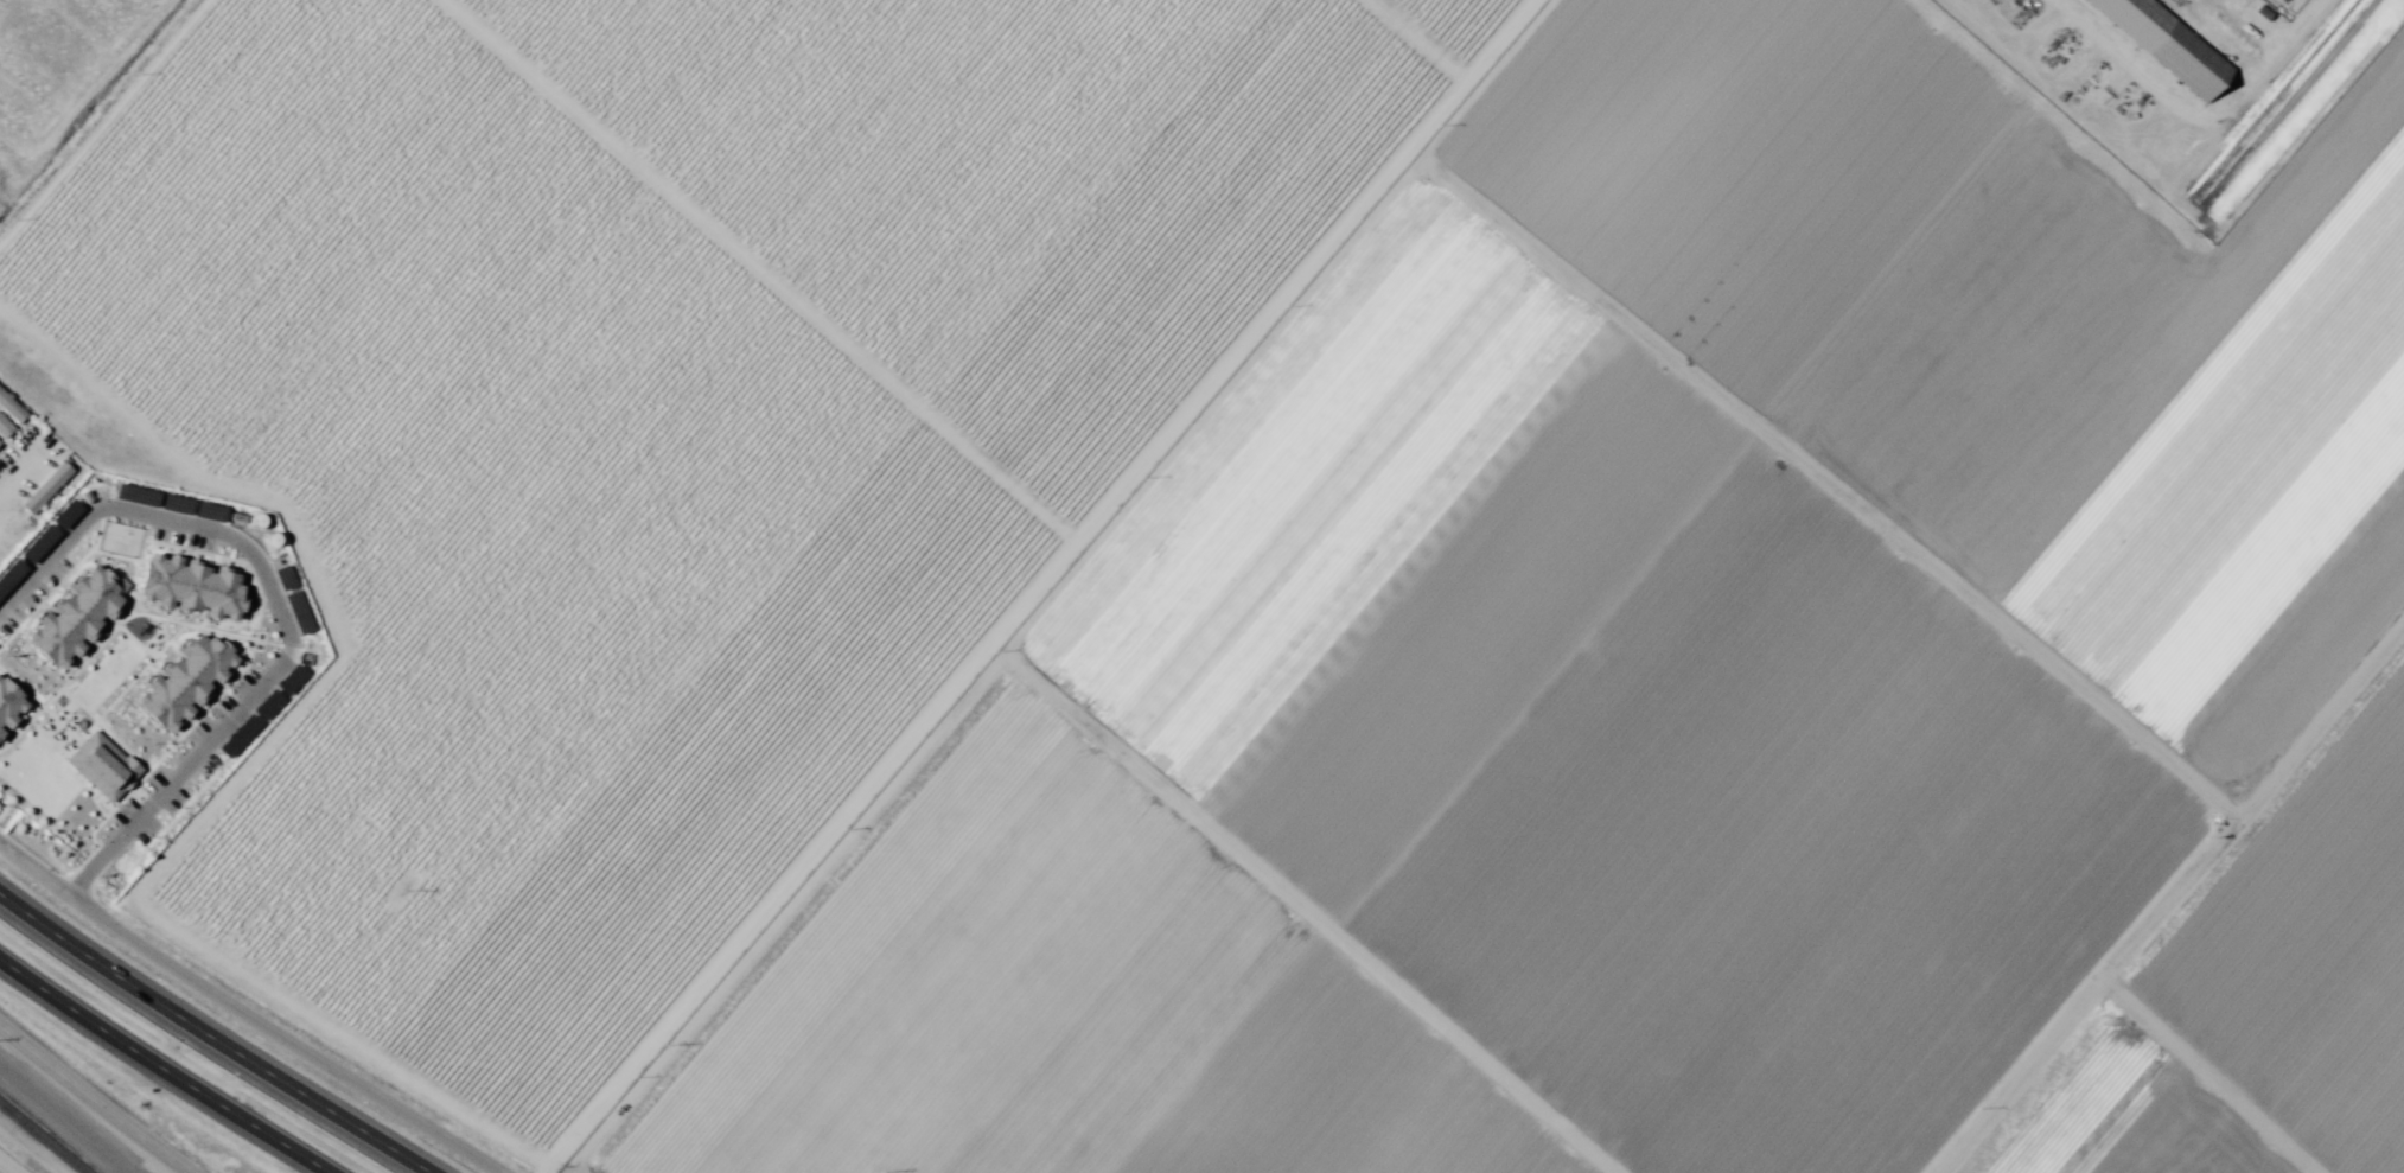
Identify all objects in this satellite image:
building: (2281, 1)
wastewater plant: (82, 9)
road: (1422, 40)
building: (2166, 44)
wastewater plant: (32, 47)
road: (82, 93)
road: (102, 120)
road: (763, 270)
building: (11, 409)
building: (5, 428)
building: (45, 490)
building: (114, 538)
building: (227, 543)
crop: (1292, 572)
road: (1039, 585)
building: (66, 591)
road: (279, 610)
building: (267, 626)
building: (119, 646)
building: (241, 656)
building: (197, 701)
road: (243, 770)
road: (2168, 897)
road: (249, 1012)
road: (212, 1037)
road: (164, 1067)
road: (94, 1101)
road: (1422, 1129)
railway: (40, 1139)
crop: (9, 1164)
crop: (9, 1164)

